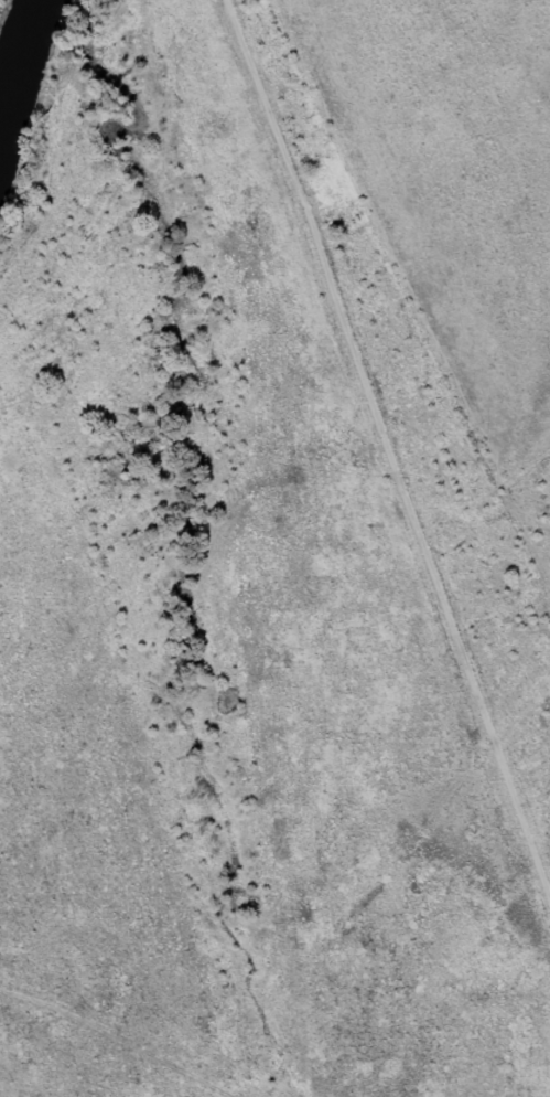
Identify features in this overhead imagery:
river: (17, 71)
road: (391, 420)
road: (67, 1043)

